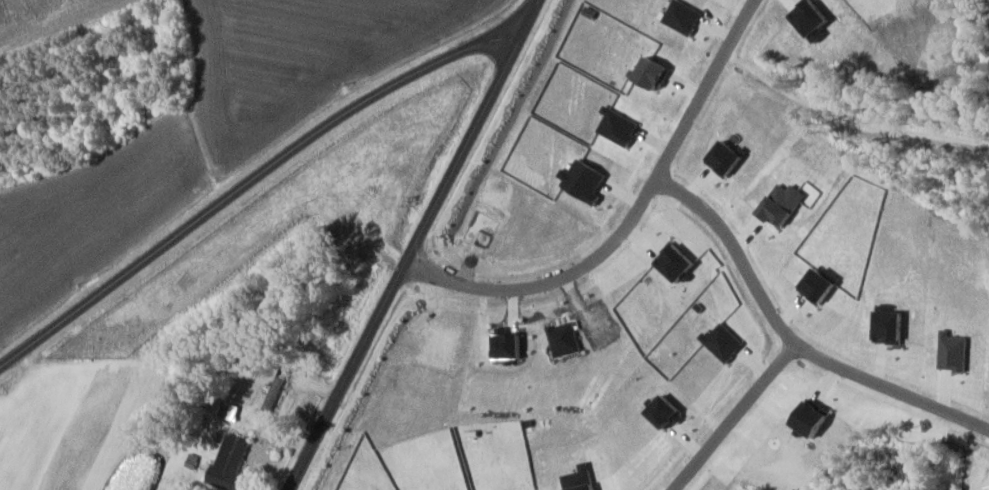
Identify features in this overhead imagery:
road: (250, 179)
road: (628, 221)
road: (412, 245)
road: (735, 251)
road: (890, 388)
building: (277, 390)
road: (732, 416)
building: (231, 463)

